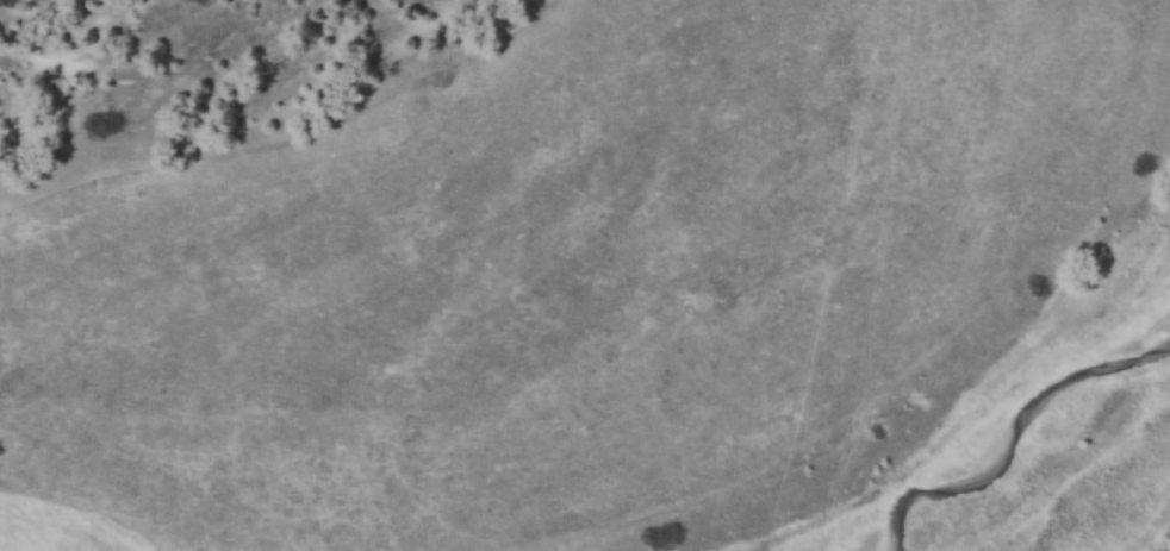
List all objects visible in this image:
river: (1016, 426)

